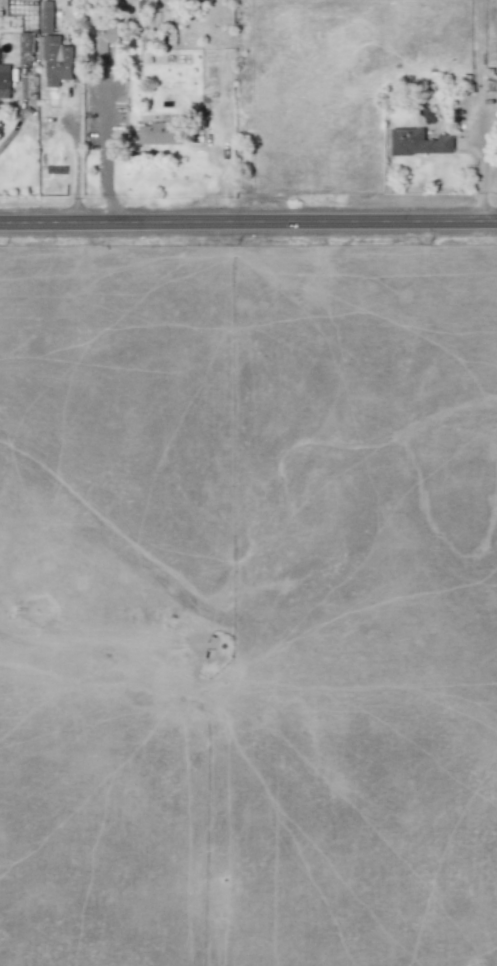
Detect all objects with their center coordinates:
building: (46, 16)
building: (103, 38)
building: (26, 42)
building: (55, 59)
building: (4, 81)
road: (480, 109)
road: (100, 114)
road: (13, 130)
building: (160, 133)
building: (418, 142)
road: (77, 170)
road: (101, 184)
road: (248, 218)

